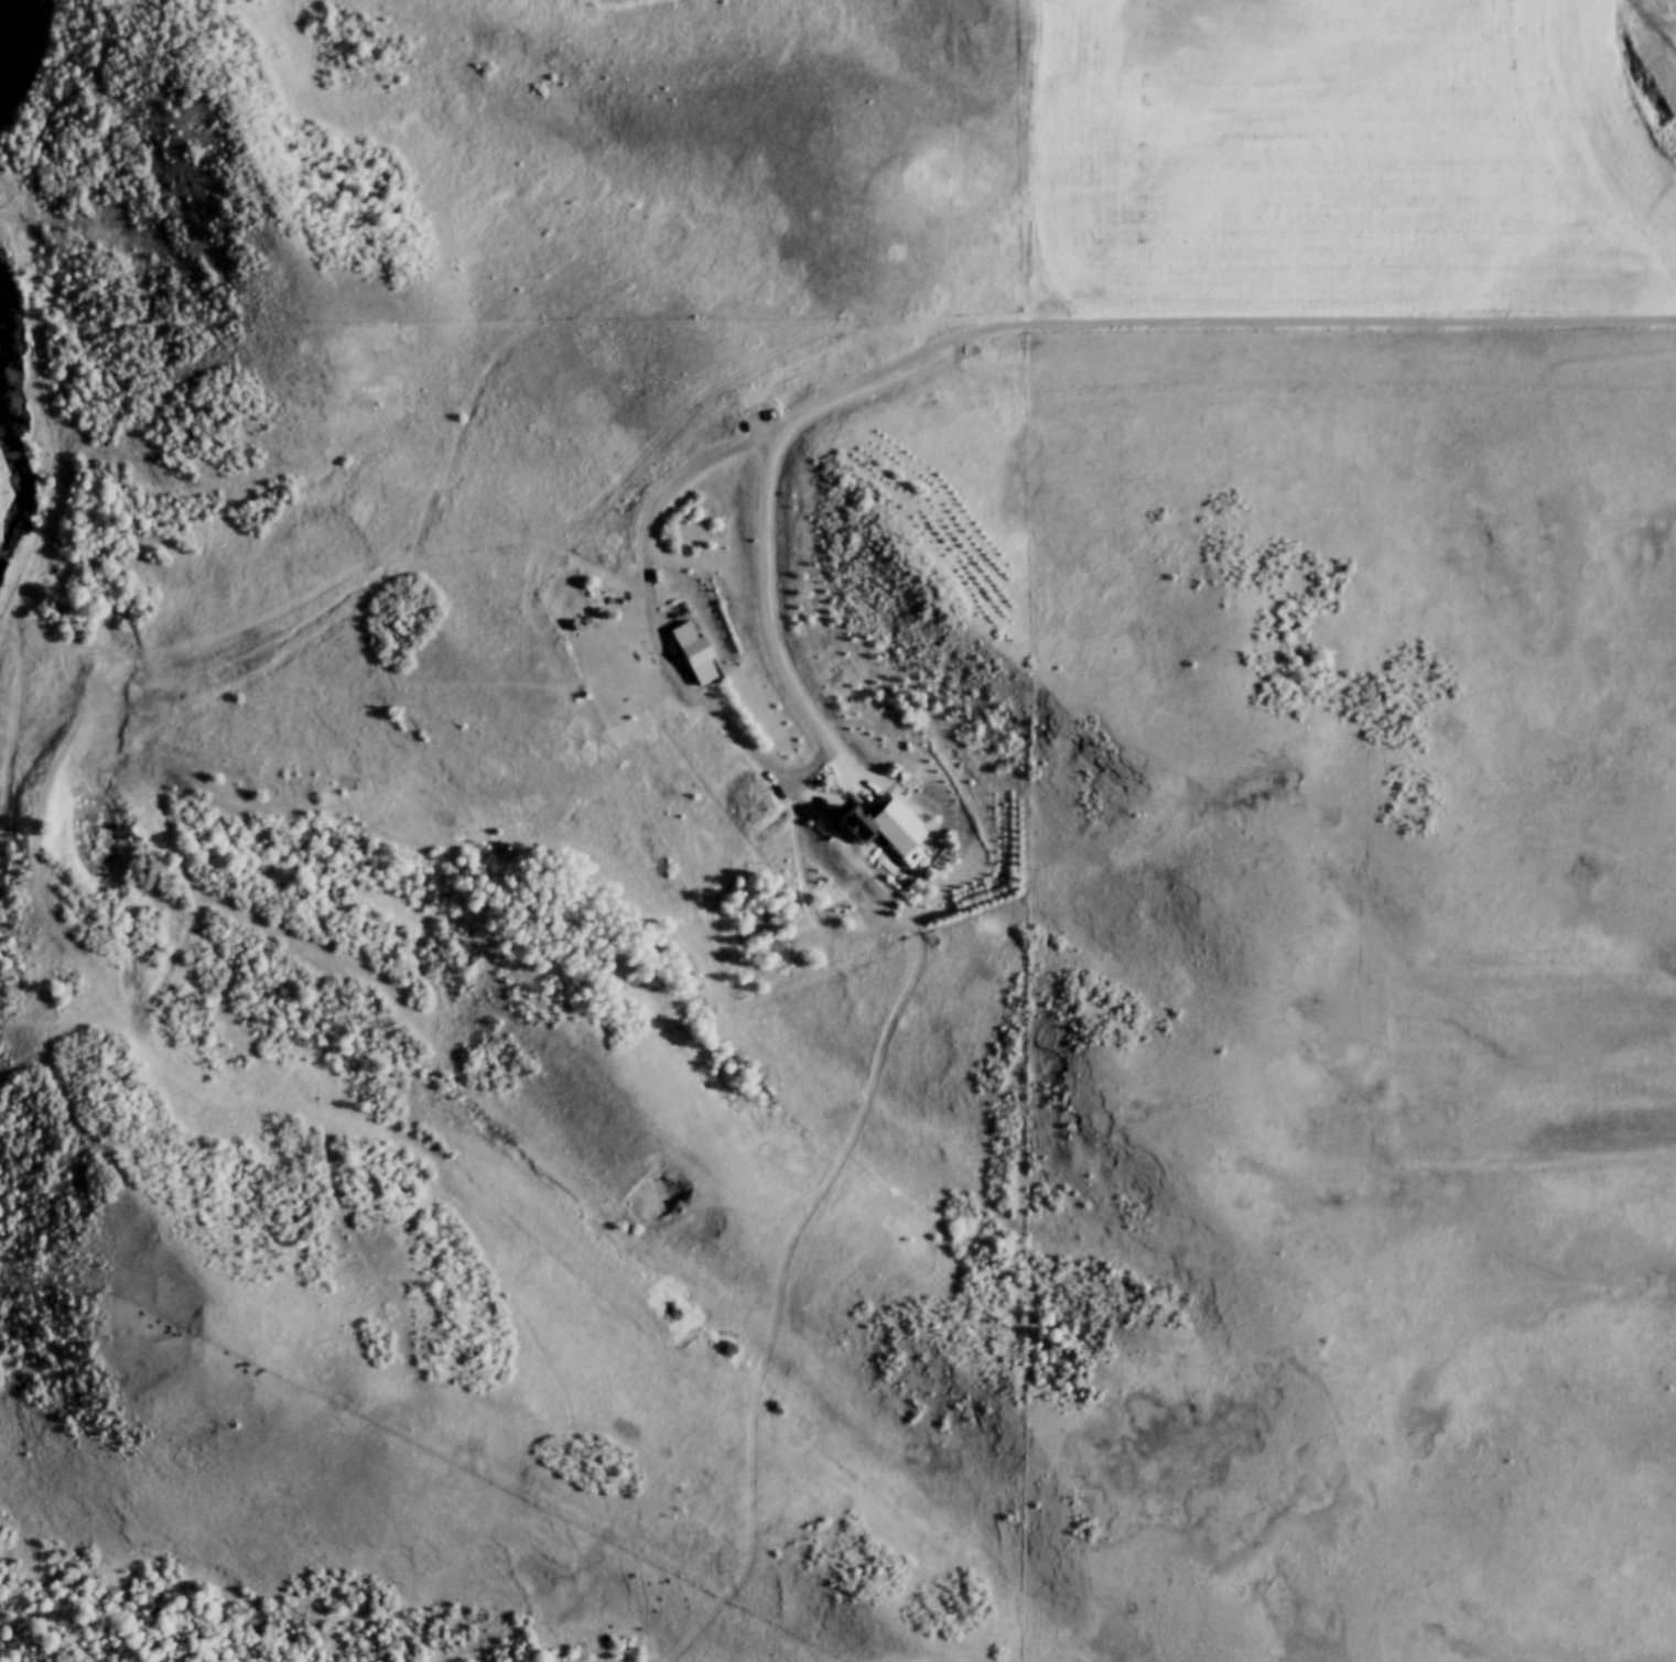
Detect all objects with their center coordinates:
road: (895, 187)
road: (1208, 326)
building: (686, 649)
road: (787, 779)
building: (879, 827)

